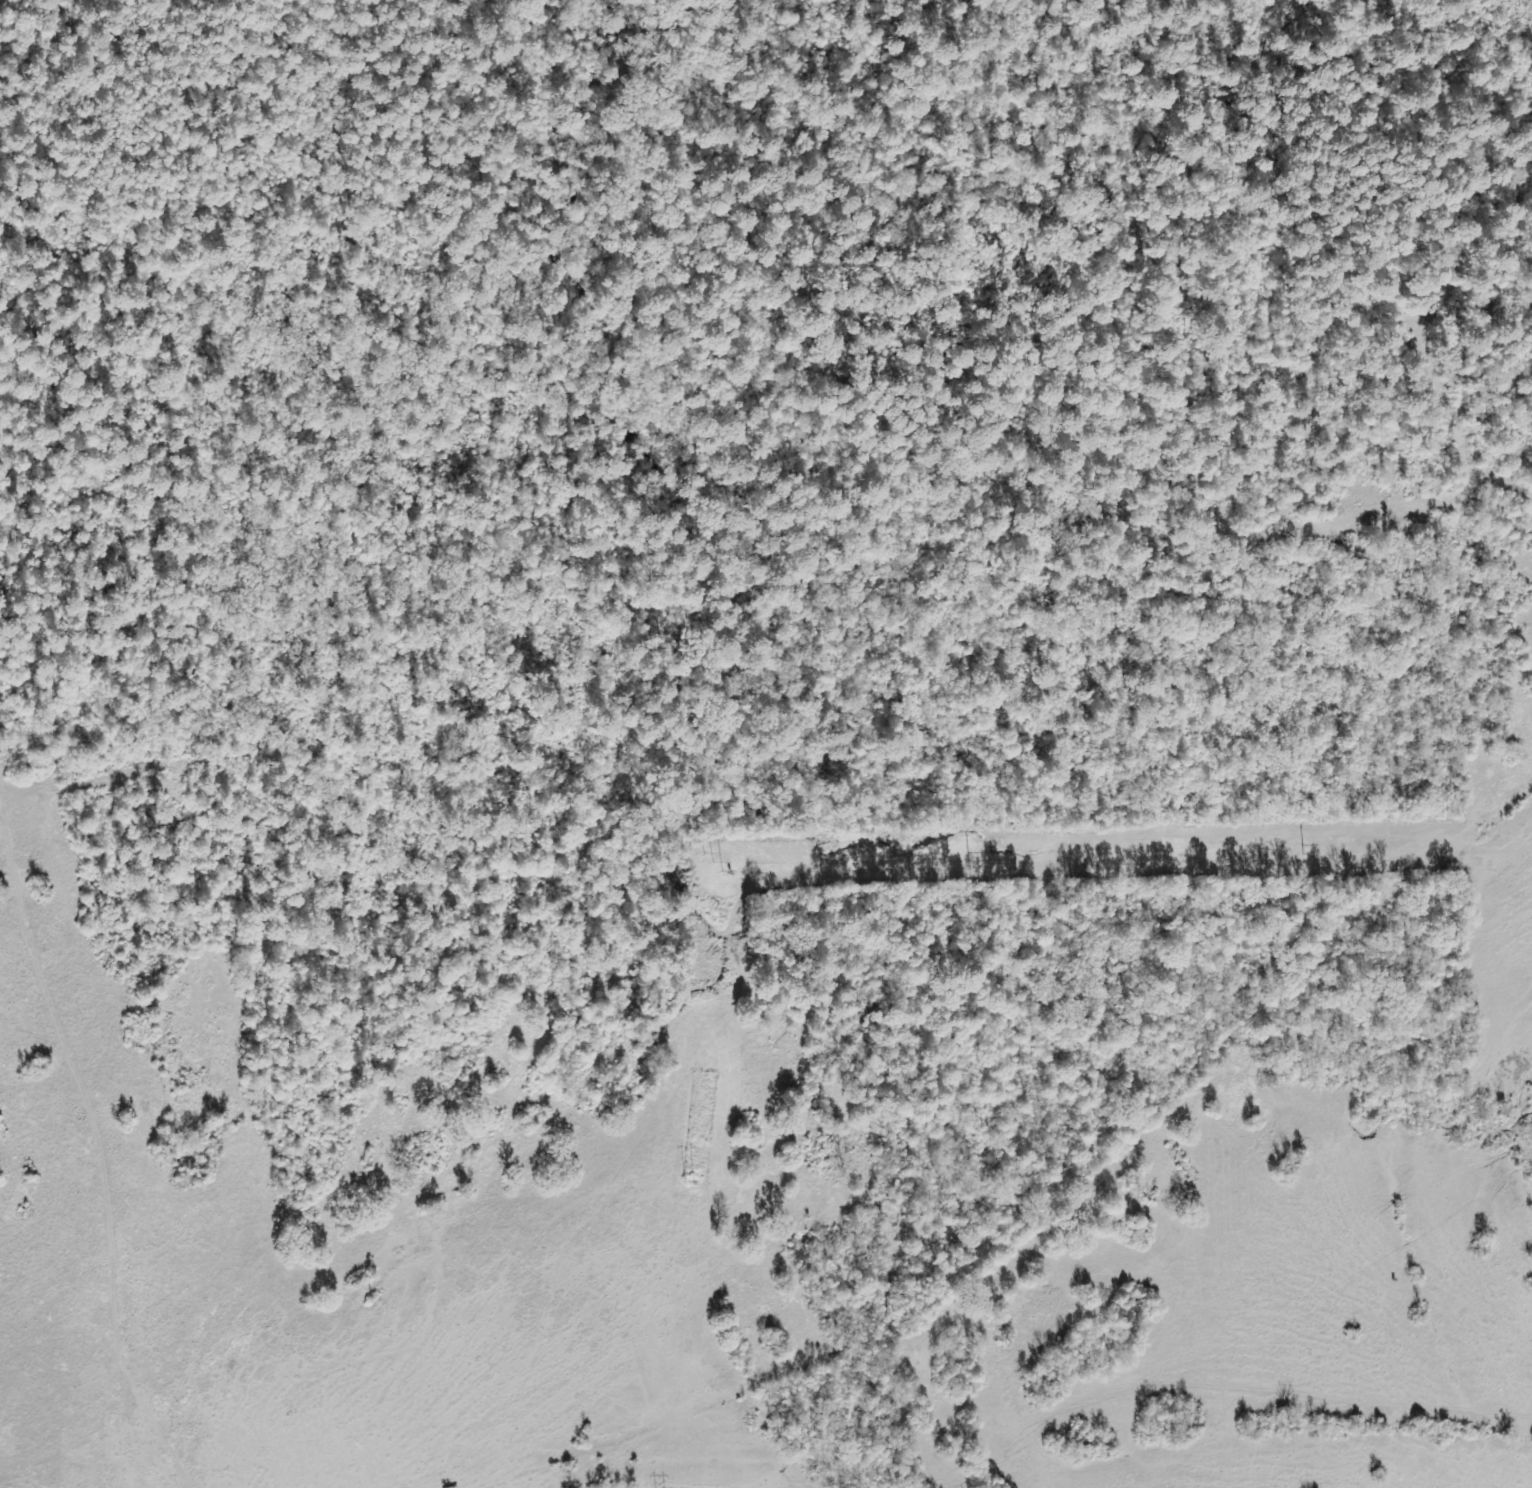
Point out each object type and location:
power tower: (1300, 847)
power tower: (962, 855)
power tower: (714, 867)
power tower: (687, 1182)

